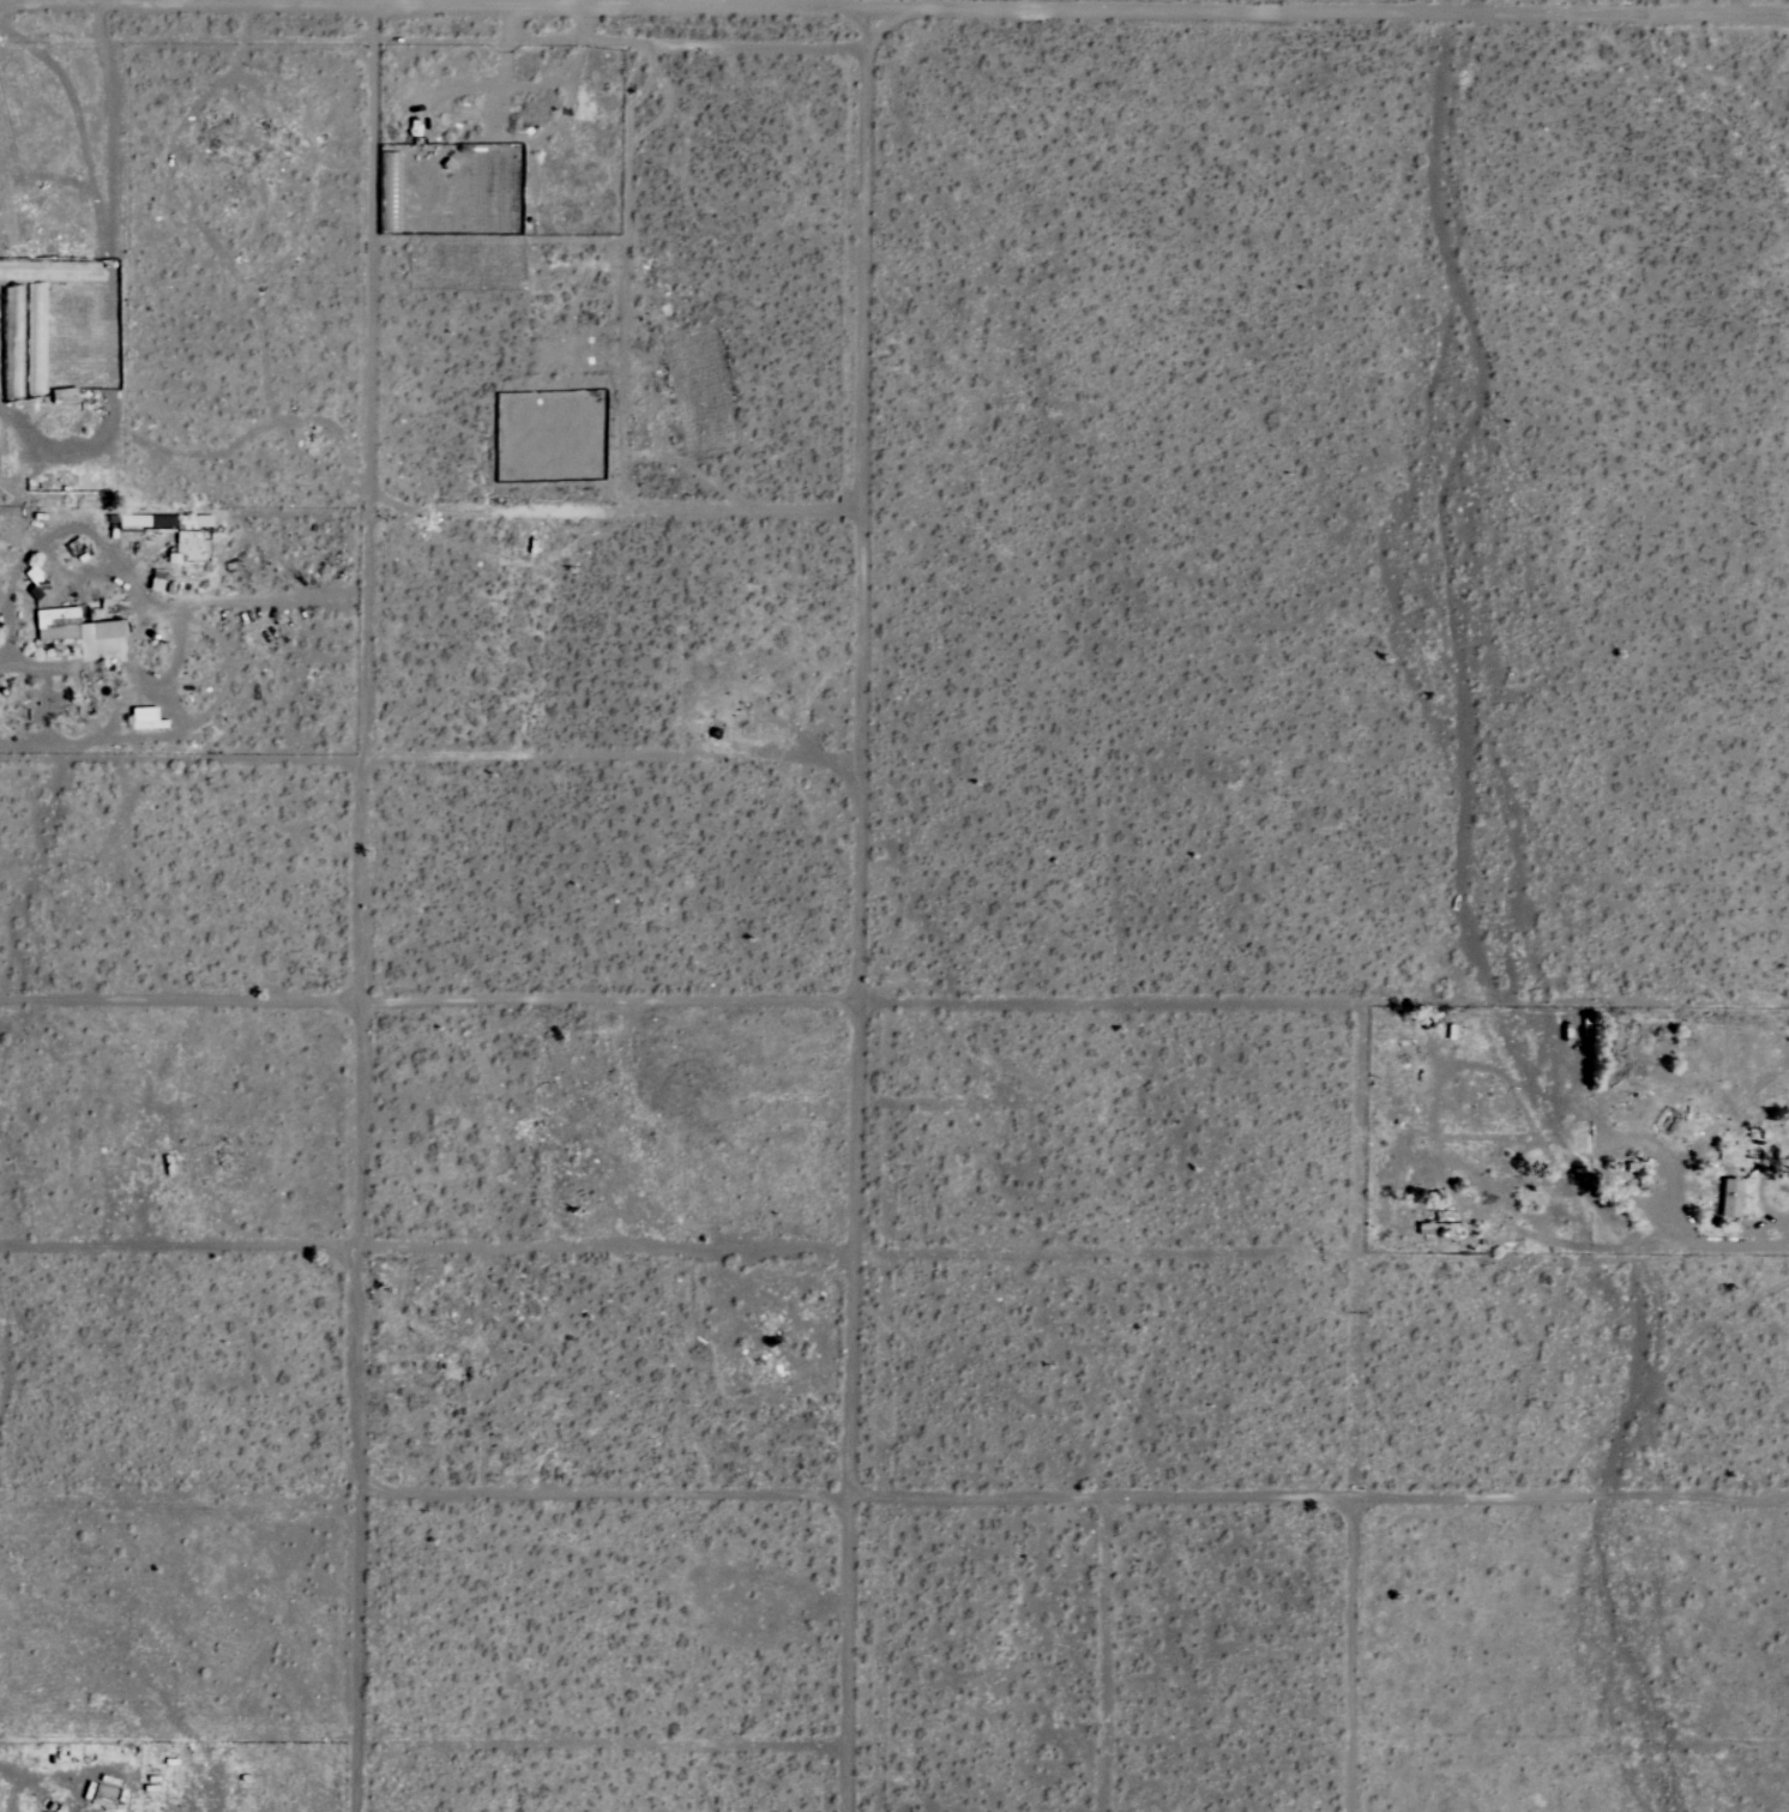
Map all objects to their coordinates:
road: (893, 20)
road: (134, 589)
building: (76, 626)
road: (855, 916)
building: (1728, 1198)
road: (1620, 1242)
road: (354, 1355)

